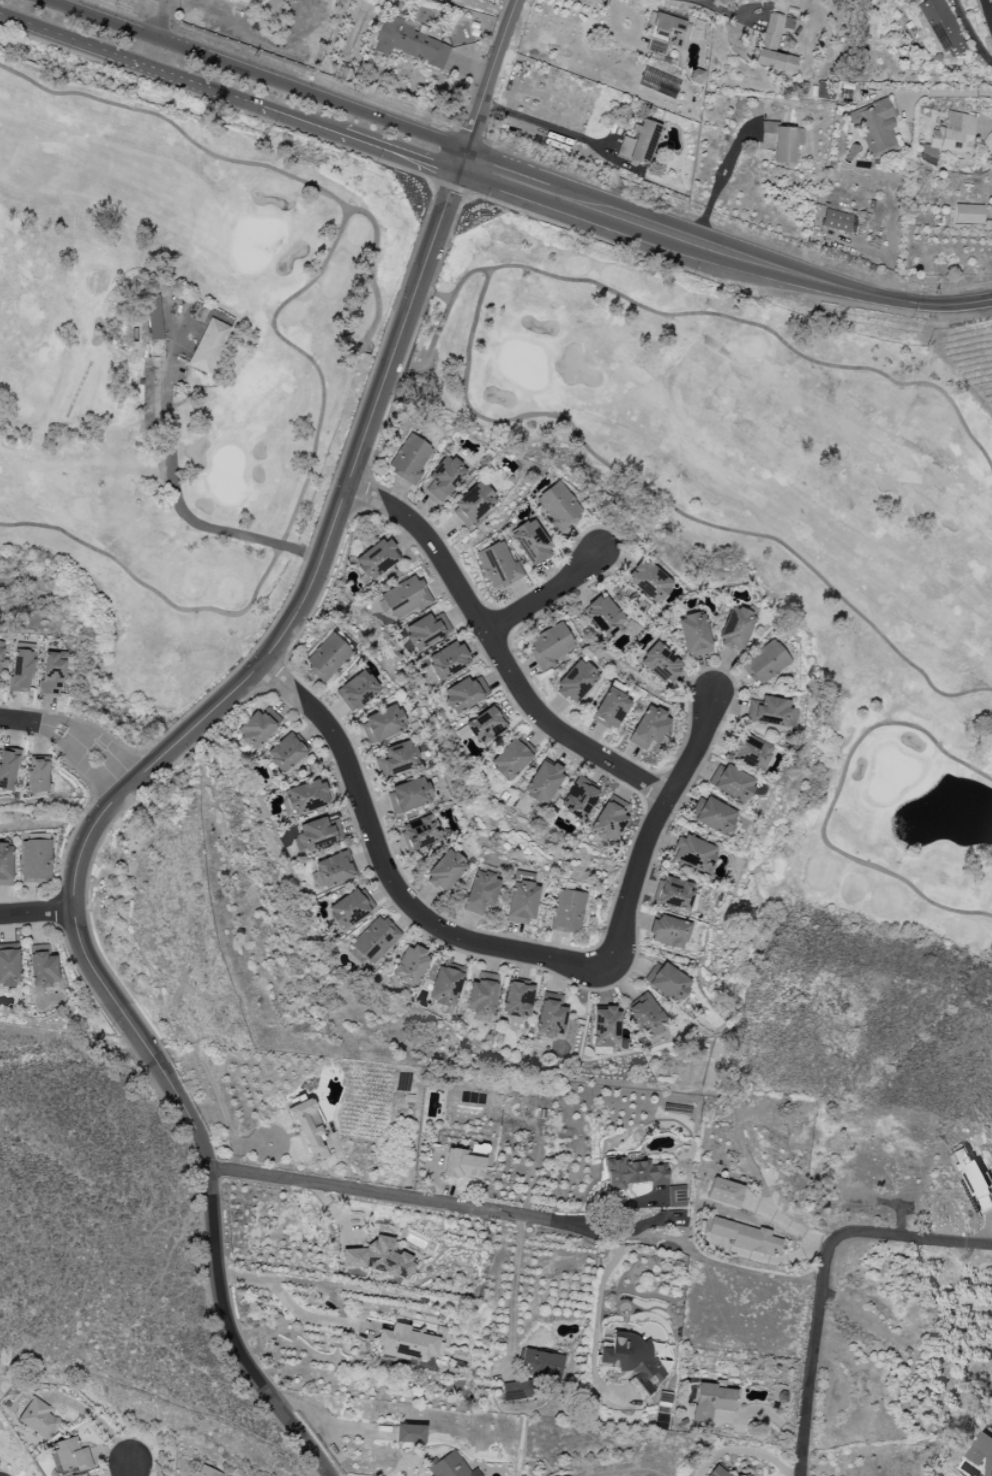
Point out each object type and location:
road: (989, 8)
road: (160, 20)
building: (942, 27)
road: (971, 32)
building: (666, 34)
road: (66, 38)
building: (408, 42)
building: (772, 47)
road: (257, 75)
building: (695, 76)
road: (489, 81)
building: (822, 92)
road: (941, 92)
road: (236, 99)
building: (875, 126)
road: (565, 134)
road: (612, 137)
building: (951, 137)
building: (780, 141)
building: (639, 142)
road: (400, 156)
road: (719, 184)
road: (586, 206)
building: (968, 214)
building: (836, 221)
road: (849, 288)
building: (154, 317)
building: (208, 346)
park: (753, 444)
building: (409, 459)
building: (443, 478)
road: (172, 489)
building: (472, 504)
building: (558, 506)
building: (375, 560)
building: (497, 566)
building: (648, 581)
road: (547, 595)
building: (405, 597)
building: (603, 615)
building: (735, 629)
building: (426, 630)
building: (694, 635)
road: (496, 644)
building: (549, 646)
building: (327, 658)
building: (0, 659)
building: (447, 660)
building: (660, 663)
building: (765, 663)
building: (21, 671)
building: (52, 674)
building: (575, 682)
building: (357, 691)
building: (464, 694)
building: (610, 709)
building: (771, 712)
building: (382, 724)
building: (485, 726)
building: (648, 728)
building: (257, 729)
road: (71, 735)
building: (749, 751)
building: (285, 753)
building: (397, 758)
building: (509, 760)
building: (8, 769)
building: (36, 775)
building: (542, 782)
building: (730, 783)
building: (409, 795)
building: (306, 797)
building: (578, 798)
road: (111, 802)
building: (711, 815)
building: (609, 818)
road: (642, 821)
building: (418, 833)
building: (318, 834)
building: (692, 853)
building: (35, 861)
building: (5, 864)
road: (382, 869)
building: (333, 870)
building: (445, 870)
building: (481, 893)
building: (673, 893)
building: (521, 900)
building: (349, 909)
road: (38, 911)
building: (568, 911)
building: (668, 932)
building: (375, 940)
building: (410, 965)
building: (42, 967)
building: (9, 968)
building: (666, 982)
building: (445, 987)
building: (481, 998)
building: (517, 1000)
building: (550, 1016)
building: (646, 1016)
building: (605, 1027)
building: (307, 1126)
building: (463, 1165)
building: (633, 1174)
building: (972, 1177)
building: (724, 1192)
building: (676, 1196)
road: (402, 1197)
building: (744, 1237)
building: (379, 1259)
road: (603, 1273)
road: (822, 1277)
road: (512, 1284)
road: (287, 1301)
building: (407, 1344)
building: (632, 1362)
building: (542, 1364)
building: (516, 1390)
building: (711, 1402)
building: (38, 1419)
building: (410, 1434)
road: (743, 1450)
building: (982, 1452)
building: (71, 1455)
building: (448, 1466)
building: (207, 1472)
building: (716, 1472)
road: (127, 1473)
building: (745, 1475)

